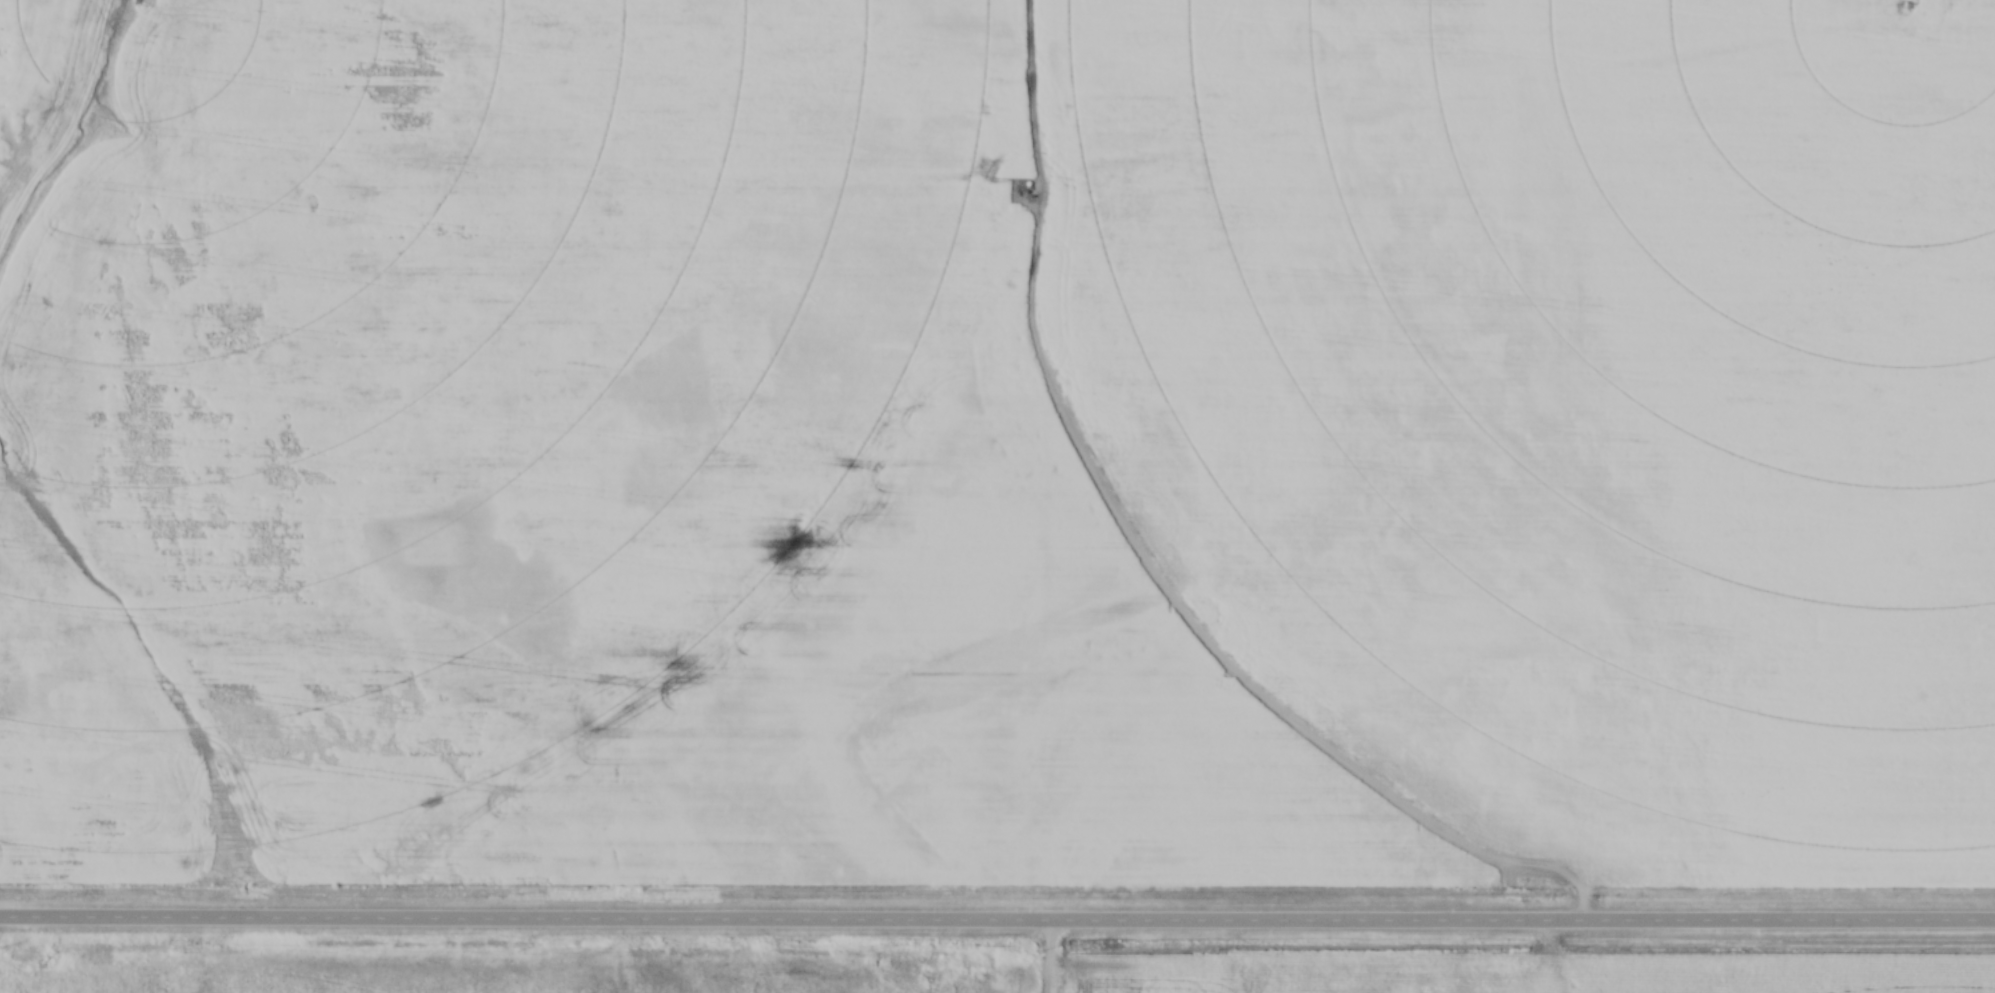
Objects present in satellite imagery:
road: (997, 929)

